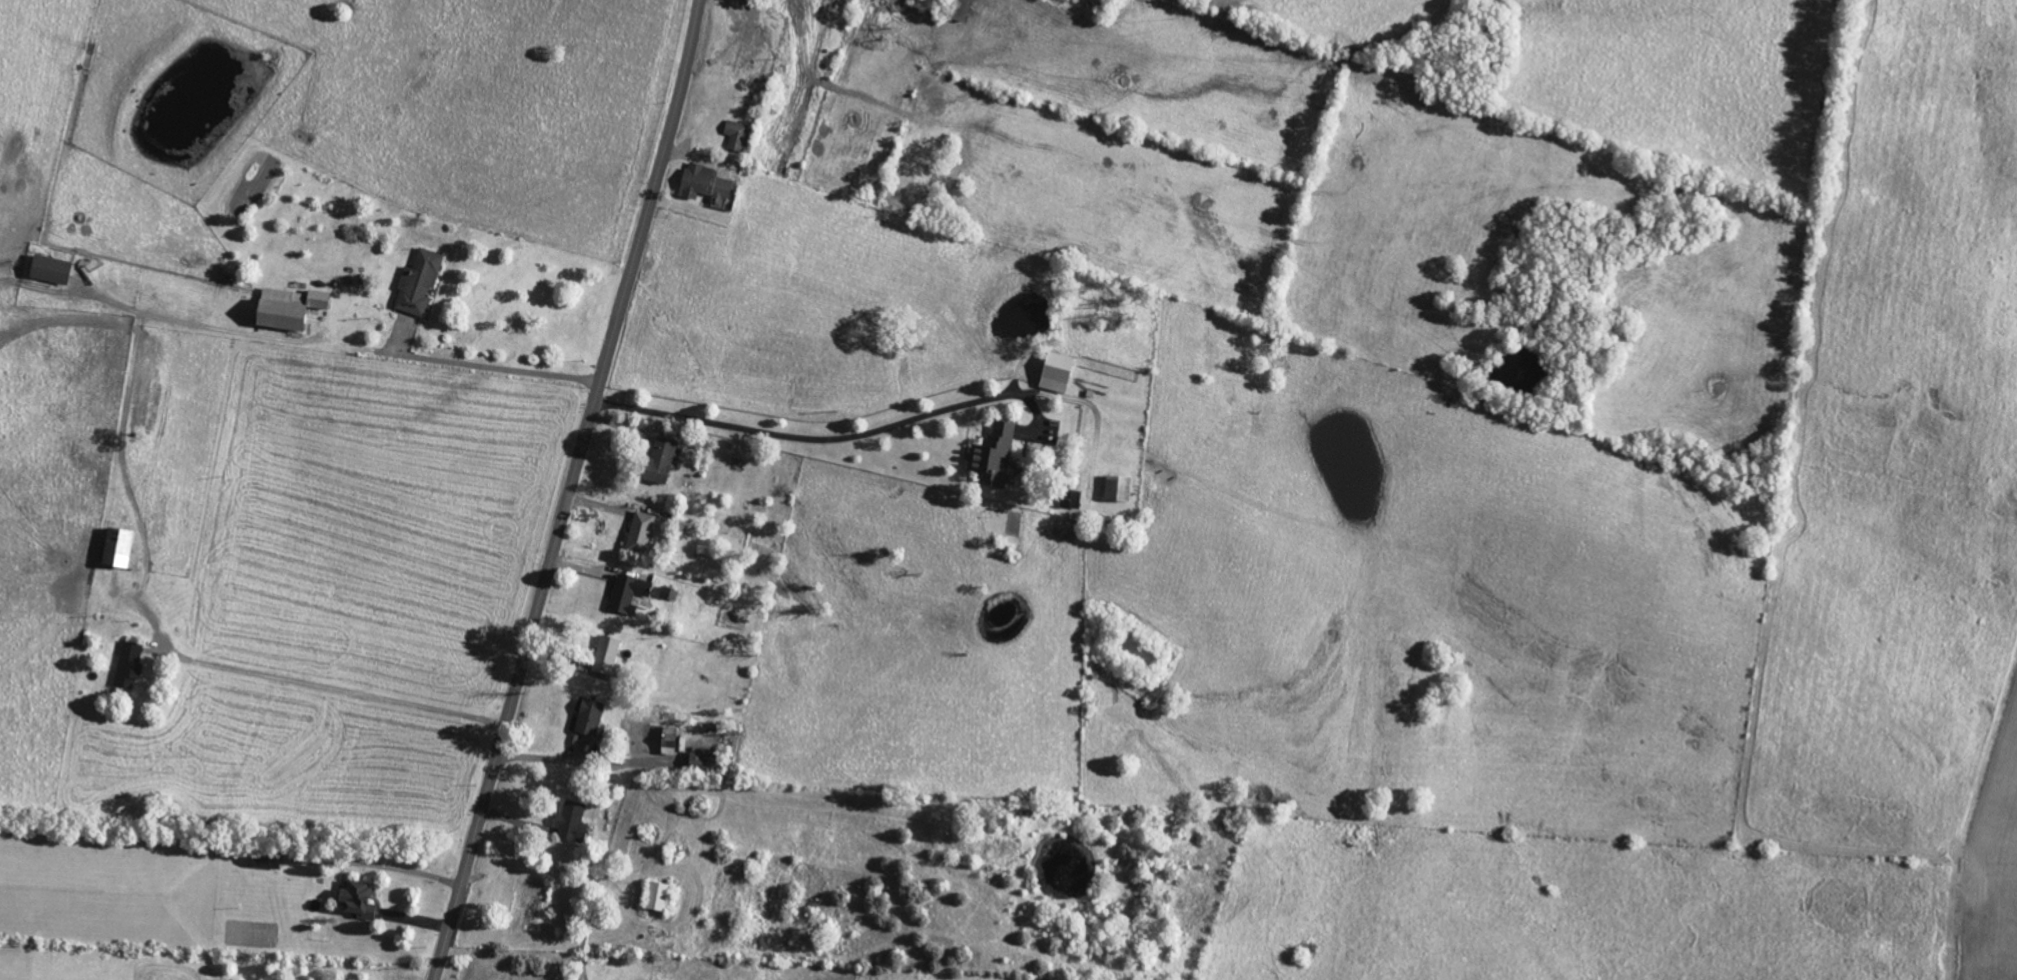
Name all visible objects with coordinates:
building: (959, 9)
building: (736, 134)
building: (703, 182)
building: (47, 268)
building: (417, 282)
building: (284, 308)
road: (346, 345)
building: (1055, 372)
building: (992, 455)
building: (659, 460)
building: (1116, 488)
road: (570, 490)
building: (1073, 498)
building: (638, 531)
building: (117, 550)
building: (626, 594)
building: (609, 656)
building: (127, 665)
road: (338, 689)
building: (587, 716)
building: (700, 759)
building: (570, 821)
building: (264, 859)
building: (655, 895)
building: (355, 898)

